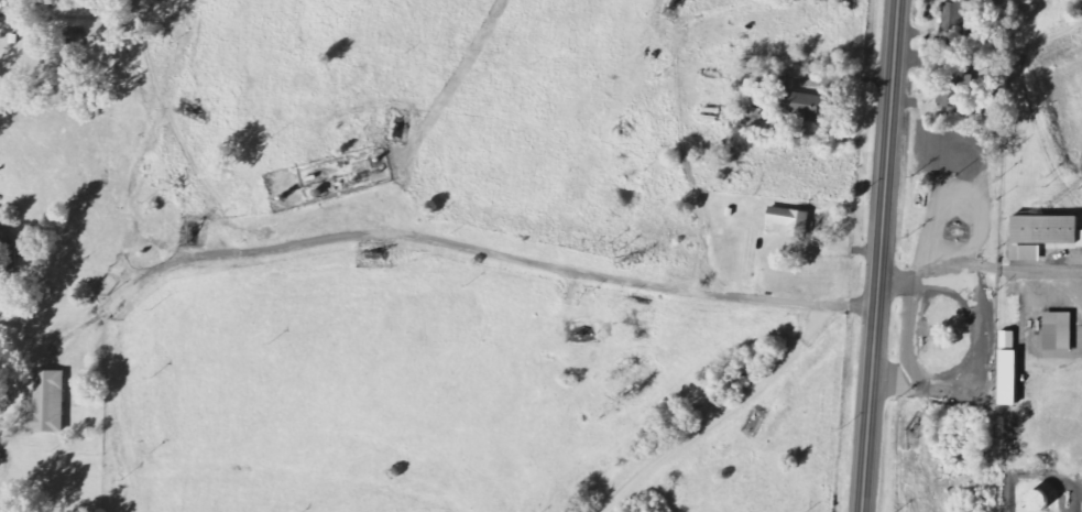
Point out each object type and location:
road: (153, 72)
building: (963, 91)
road: (1027, 106)
building: (807, 107)
road: (186, 151)
road: (129, 197)
building: (790, 221)
building: (1042, 236)
building: (3, 239)
road: (481, 251)
road: (878, 255)
road: (1038, 272)
road: (937, 273)
road: (1080, 275)
road: (910, 333)
building: (1058, 333)
road: (974, 371)
building: (1009, 371)
building: (48, 403)
road: (723, 415)
building: (1037, 501)

